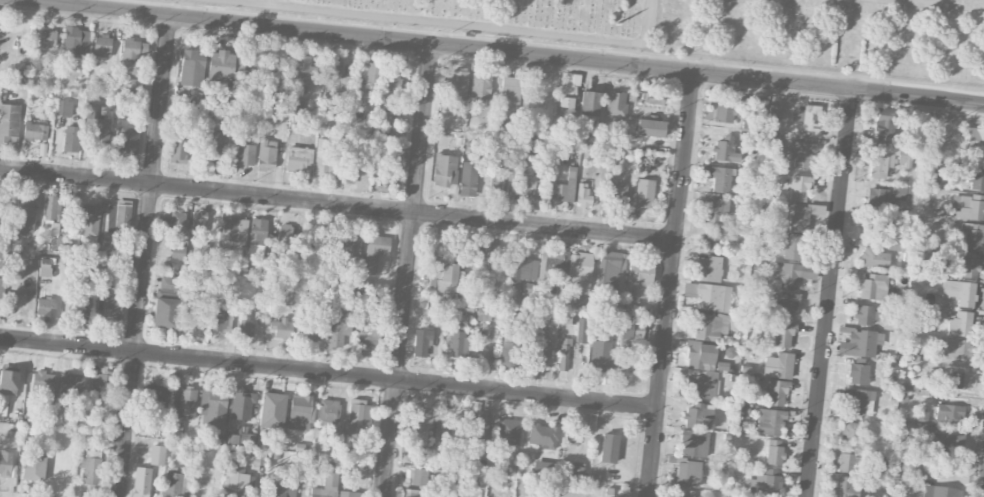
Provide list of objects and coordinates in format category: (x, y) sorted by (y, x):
road: (926, 1)
road: (79, 3)
road: (464, 24)
park: (724, 28)
building: (45, 38)
building: (76, 42)
building: (102, 45)
road: (504, 51)
building: (132, 53)
building: (221, 65)
building: (192, 68)
building: (333, 70)
building: (304, 71)
building: (372, 72)
building: (572, 78)
building: (457, 82)
building: (391, 84)
building: (480, 87)
building: (509, 92)
building: (566, 98)
building: (654, 98)
building: (588, 103)
building: (616, 105)
building: (760, 107)
building: (64, 108)
building: (725, 109)
building: (774, 111)
building: (807, 117)
building: (9, 124)
building: (884, 127)
building: (650, 128)
building: (98, 129)
building: (35, 131)
building: (71, 139)
building: (771, 140)
building: (974, 140)
building: (211, 145)
building: (724, 150)
building: (178, 151)
building: (266, 153)
building: (243, 154)
building: (801, 154)
building: (328, 156)
building: (298, 159)
building: (889, 160)
building: (357, 164)
building: (443, 169)
building: (391, 175)
building: (976, 176)
building: (521, 177)
building: (467, 178)
building: (720, 179)
building: (496, 184)
building: (798, 188)
building: (564, 189)
building: (616, 193)
building: (644, 193)
building: (583, 195)
building: (887, 197)
road: (338, 203)
building: (968, 206)
building: (715, 210)
building: (25, 213)
building: (51, 213)
building: (118, 218)
building: (798, 218)
building: (174, 221)
building: (198, 222)
building: (87, 223)
building: (876, 225)
building: (972, 235)
building: (257, 237)
building: (284, 240)
building: (714, 240)
building: (324, 242)
building: (788, 246)
building: (348, 247)
building: (177, 252)
building: (373, 253)
building: (490, 254)
road: (146, 256)
building: (873, 257)
building: (516, 264)
building: (552, 267)
building: (709, 268)
building: (969, 268)
building: (44, 270)
road: (407, 270)
building: (611, 270)
building: (579, 273)
building: (792, 273)
building: (443, 276)
building: (639, 278)
road: (671, 284)
building: (0, 287)
building: (872, 287)
building: (959, 292)
road: (830, 294)
building: (709, 295)
building: (289, 296)
building: (165, 302)
building: (786, 305)
building: (45, 306)
building: (112, 307)
building: (484, 312)
building: (864, 315)
building: (192, 318)
building: (216, 322)
building: (960, 324)
building: (245, 325)
building: (338, 325)
building: (712, 326)
building: (281, 327)
building: (366, 330)
building: (582, 330)
building: (307, 334)
building: (782, 334)
building: (633, 335)
building: (421, 341)
building: (457, 341)
building: (859, 343)
building: (955, 348)
building: (510, 350)
building: (565, 352)
building: (601, 354)
building: (700, 355)
building: (910, 355)
building: (538, 356)
building: (778, 366)
road: (329, 372)
building: (858, 373)
building: (43, 380)
building: (961, 380)
building: (70, 383)
building: (702, 385)
building: (7, 387)
building: (100, 388)
building: (776, 393)
building: (157, 395)
building: (184, 402)
building: (859, 402)
building: (242, 404)
building: (213, 406)
building: (272, 410)
building: (329, 410)
building: (300, 411)
building: (948, 414)
building: (698, 416)
building: (358, 417)
building: (769, 421)
building: (419, 423)
building: (482, 429)
building: (507, 431)
building: (851, 432)
building: (572, 433)
building: (543, 435)
building: (240, 439)
building: (941, 442)
building: (693, 443)
building: (608, 448)
building: (773, 451)
building: (157, 455)
building: (418, 458)
building: (846, 460)
building: (5, 463)
building: (33, 467)
building: (90, 468)
building: (542, 468)
building: (577, 472)
building: (687, 473)
building: (234, 479)
building: (141, 482)
building: (328, 482)
building: (767, 483)
building: (177, 485)
building: (844, 487)
building: (282, 490)
building: (940, 491)
building: (611, 492)
building: (348, 494)
building: (562, 495)

